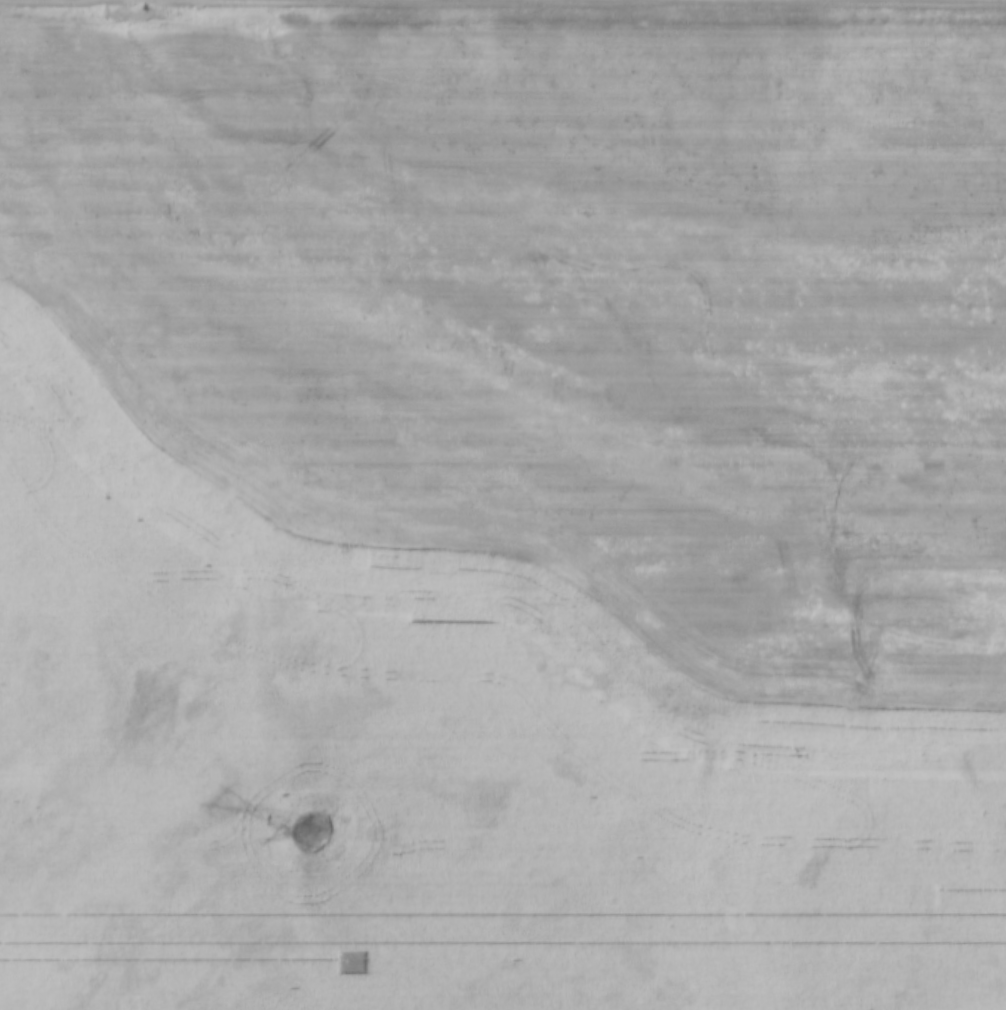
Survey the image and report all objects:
power tower: (316, 832)

